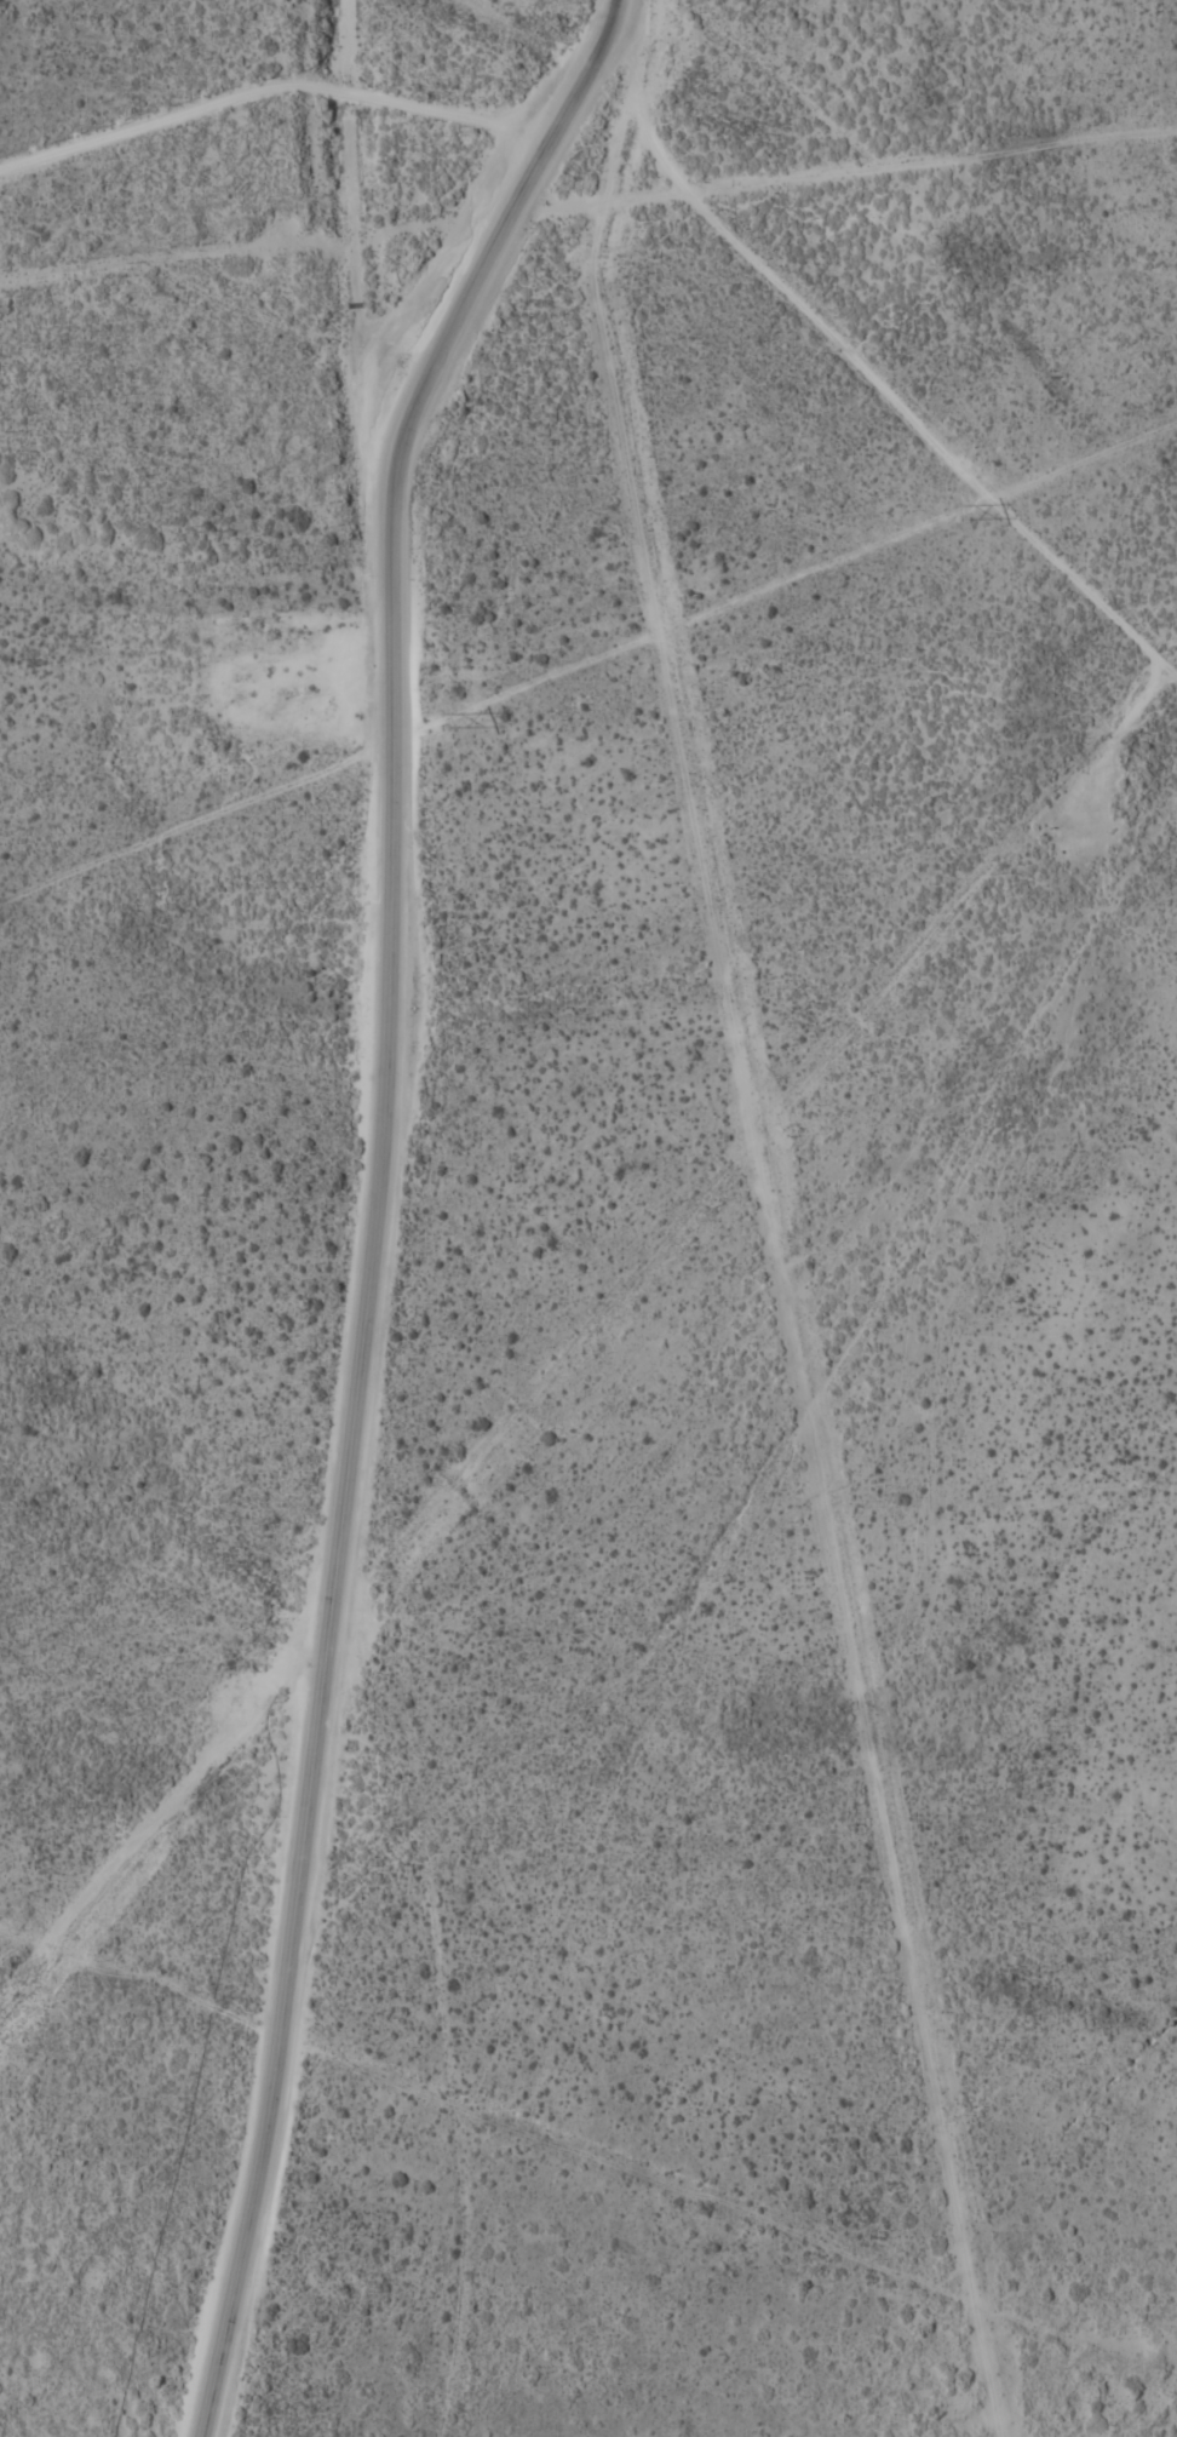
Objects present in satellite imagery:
road: (668, 190)
road: (483, 197)
road: (854, 361)
power tower: (957, 510)
power tower: (438, 719)
road: (374, 1223)
road: (618, 2017)

